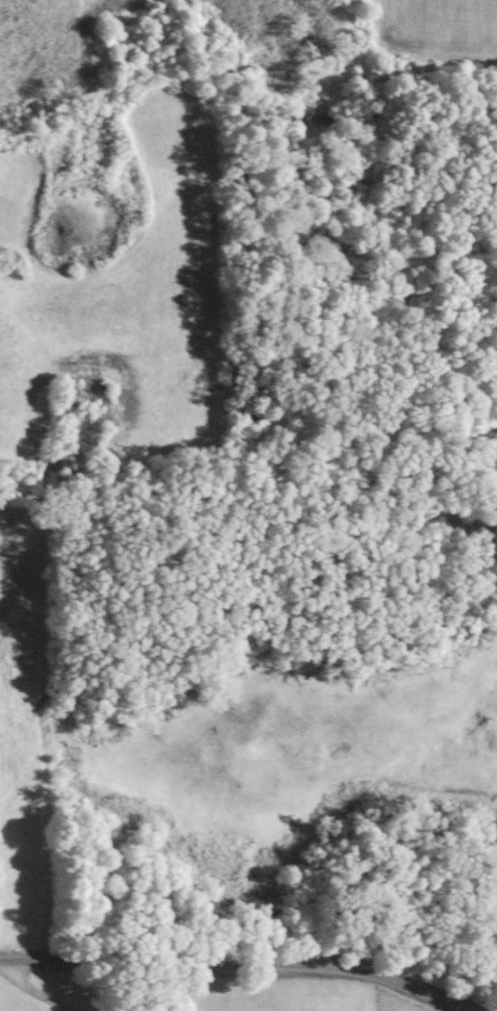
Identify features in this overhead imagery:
road: (241, 968)
road: (27, 994)

